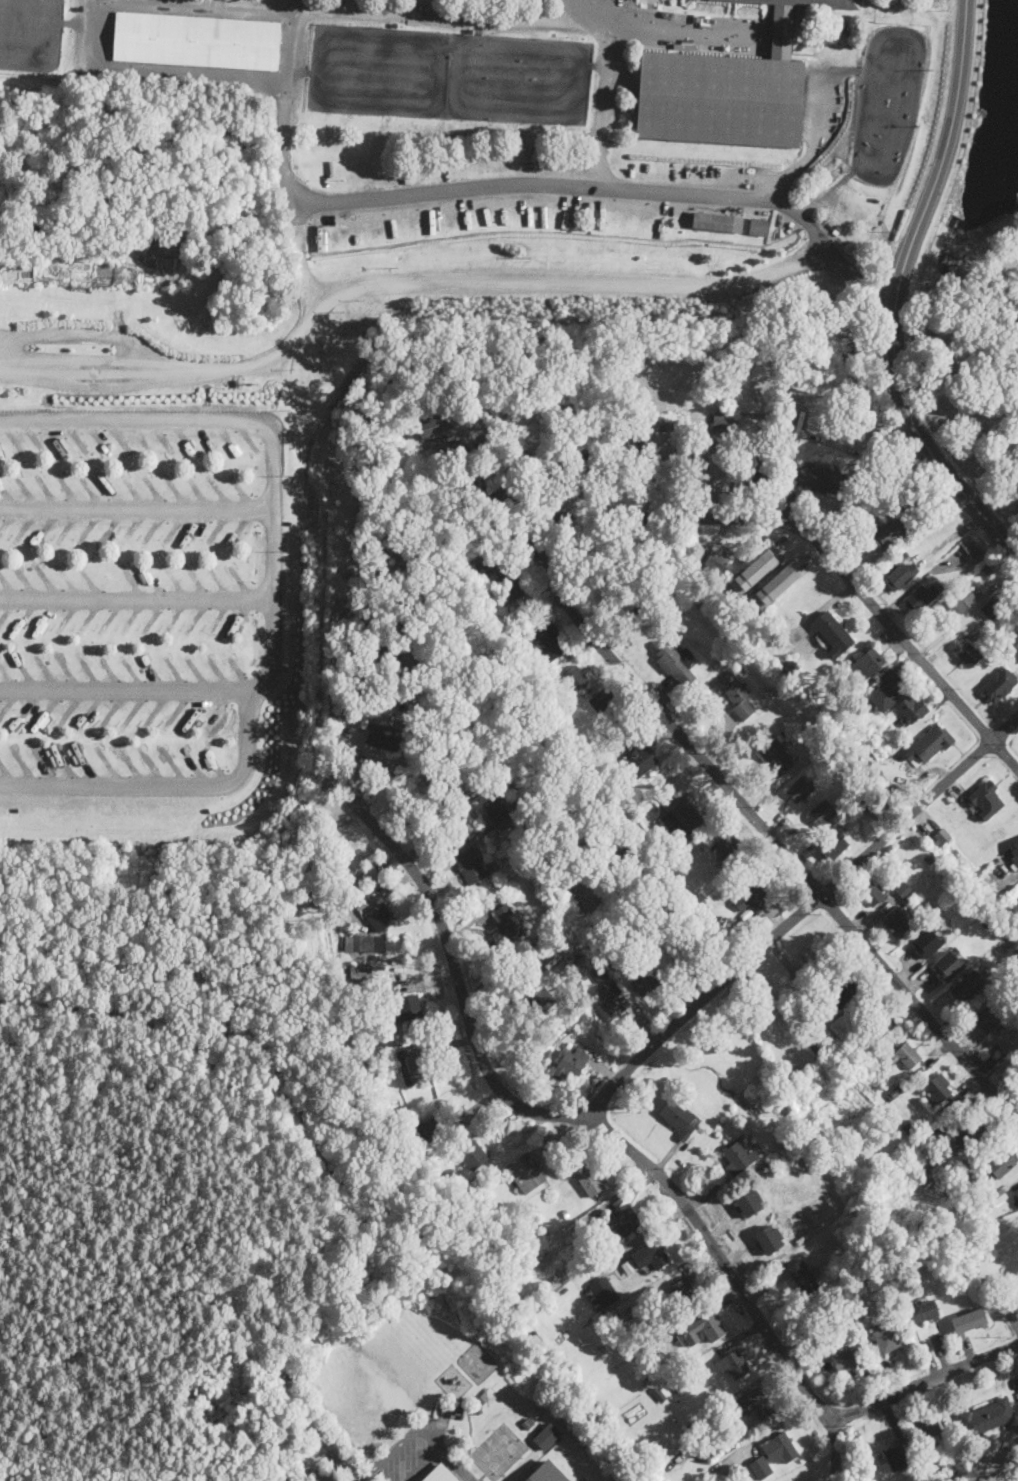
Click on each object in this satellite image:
building: (651, 1)
building: (810, 3)
road: (208, 5)
road: (578, 10)
road: (528, 20)
building: (68, 31)
road: (677, 36)
building: (197, 41)
road: (158, 71)
building: (724, 94)
road: (283, 108)
road: (525, 186)
building: (713, 222)
building: (757, 226)
building: (322, 236)
road: (440, 285)
building: (847, 292)
road: (898, 294)
building: (238, 382)
building: (787, 419)
building: (720, 420)
building: (671, 423)
building: (433, 425)
building: (771, 425)
building: (566, 432)
building: (880, 439)
building: (631, 445)
building: (453, 451)
building: (594, 454)
building: (583, 465)
building: (755, 465)
building: (821, 480)
building: (475, 481)
building: (918, 486)
building: (462, 501)
road: (136, 505)
building: (918, 513)
building: (890, 530)
road: (819, 547)
building: (970, 547)
building: (903, 553)
building: (924, 554)
building: (717, 561)
building: (502, 567)
building: (691, 567)
building: (776, 570)
building: (966, 570)
building: (988, 570)
building: (753, 571)
building: (901, 577)
building: (774, 586)
building: (516, 587)
road: (272, 590)
road: (136, 596)
building: (920, 598)
building: (960, 601)
building: (702, 603)
building: (481, 606)
building: (993, 608)
building: (644, 610)
building: (518, 625)
building: (703, 636)
building: (837, 636)
building: (548, 639)
building: (1015, 647)
building: (390, 648)
building: (967, 653)
building: (674, 661)
building: (867, 663)
building: (790, 668)
building: (530, 675)
building: (575, 677)
building: (999, 685)
road: (130, 690)
building: (887, 691)
building: (768, 693)
building: (818, 695)
building: (737, 696)
building: (602, 702)
building: (913, 709)
building: (383, 736)
building: (932, 742)
building: (773, 755)
building: (866, 759)
building: (641, 761)
building: (879, 773)
building: (446, 778)
road: (726, 786)
building: (800, 788)
building: (469, 796)
building: (873, 796)
building: (986, 800)
building: (885, 805)
building: (501, 811)
building: (822, 813)
building: (677, 814)
building: (466, 831)
building: (943, 837)
building: (728, 846)
building: (833, 846)
building: (807, 851)
building: (1016, 852)
building: (593, 855)
building: (929, 856)
building: (630, 857)
building: (381, 865)
building: (471, 866)
building: (557, 873)
building: (610, 879)
building: (909, 880)
building: (299, 883)
building: (904, 889)
building: (870, 894)
building: (963, 895)
building: (752, 903)
building: (1000, 904)
building: (703, 909)
building: (697, 914)
road: (797, 916)
building: (380, 917)
building: (896, 923)
building: (508, 924)
building: (986, 924)
building: (674, 926)
building: (561, 941)
building: (927, 941)
building: (358, 942)
building: (687, 953)
building: (579, 960)
building: (570, 963)
building: (610, 964)
building: (948, 964)
building: (361, 970)
building: (599, 973)
building: (643, 983)
building: (361, 985)
building: (789, 987)
building: (967, 987)
building: (342, 991)
building: (842, 992)
building: (592, 997)
building: (541, 1000)
building: (801, 1000)
building: (610, 1001)
building: (386, 1005)
building: (409, 1007)
building: (988, 1015)
building: (839, 1026)
building: (878, 1029)
building: (1006, 1041)
building: (814, 1046)
building: (841, 1049)
building: (547, 1053)
building: (906, 1055)
building: (847, 1059)
building: (414, 1064)
building: (571, 1064)
building: (793, 1076)
building: (441, 1085)
building: (896, 1091)
building: (941, 1092)
building: (678, 1119)
building: (925, 1126)
building: (908, 1129)
building: (429, 1131)
road: (603, 1133)
building: (973, 1134)
building: (931, 1137)
building: (788, 1144)
building: (474, 1155)
building: (737, 1158)
building: (1001, 1163)
building: (526, 1171)
building: (972, 1175)
building: (590, 1182)
building: (998, 1196)
building: (1016, 1196)
building: (748, 1201)
building: (566, 1214)
building: (627, 1217)
building: (798, 1224)
building: (768, 1238)
building: (606, 1245)
building: (651, 1256)
building: (803, 1277)
building: (982, 1280)
building: (684, 1292)
building: (855, 1292)
building: (601, 1293)
building: (507, 1303)
building: (850, 1306)
building: (629, 1313)
building: (919, 1313)
building: (832, 1316)
building: (968, 1321)
building: (703, 1329)
building: (885, 1340)
building: (845, 1362)
building: (736, 1364)
road: (920, 1382)
building: (677, 1385)
building: (659, 1395)
building: (756, 1404)
building: (476, 1408)
building: (654, 1409)
building: (535, 1415)
building: (987, 1417)
building: (544, 1418)
building: (528, 1422)
building: (697, 1427)
building: (927, 1427)
road: (417, 1429)
building: (546, 1436)
building: (712, 1447)
building: (779, 1449)
building: (896, 1456)
road: (346, 1457)
road: (341, 1466)
building: (758, 1469)
building: (948, 1472)
building: (546, 1473)
road: (364, 1475)
building: (439, 1476)

